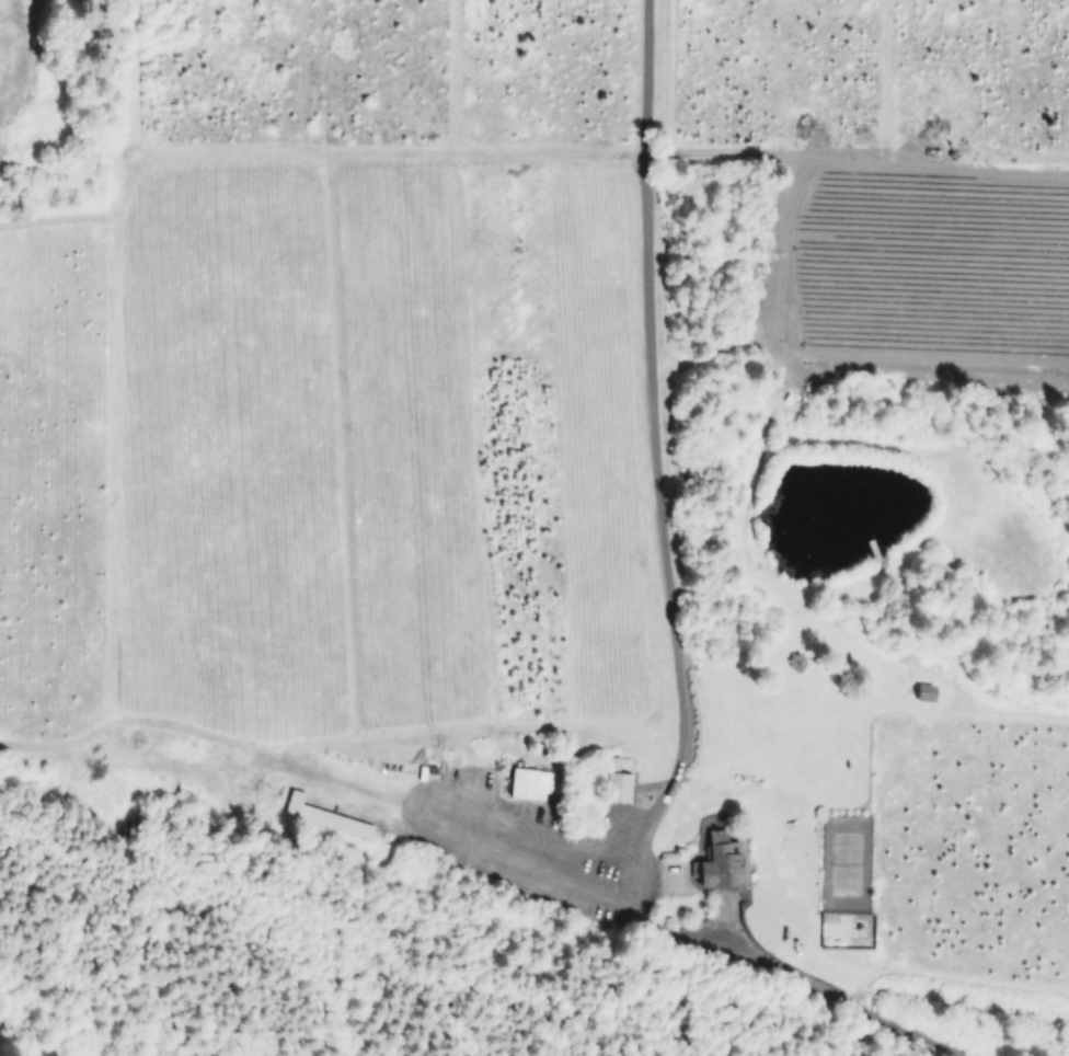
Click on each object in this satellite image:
building: (393, 254)
building: (566, 267)
building: (606, 311)
building: (368, 423)
road: (650, 464)
building: (795, 664)
building: (526, 787)
building: (616, 799)
building: (717, 868)

